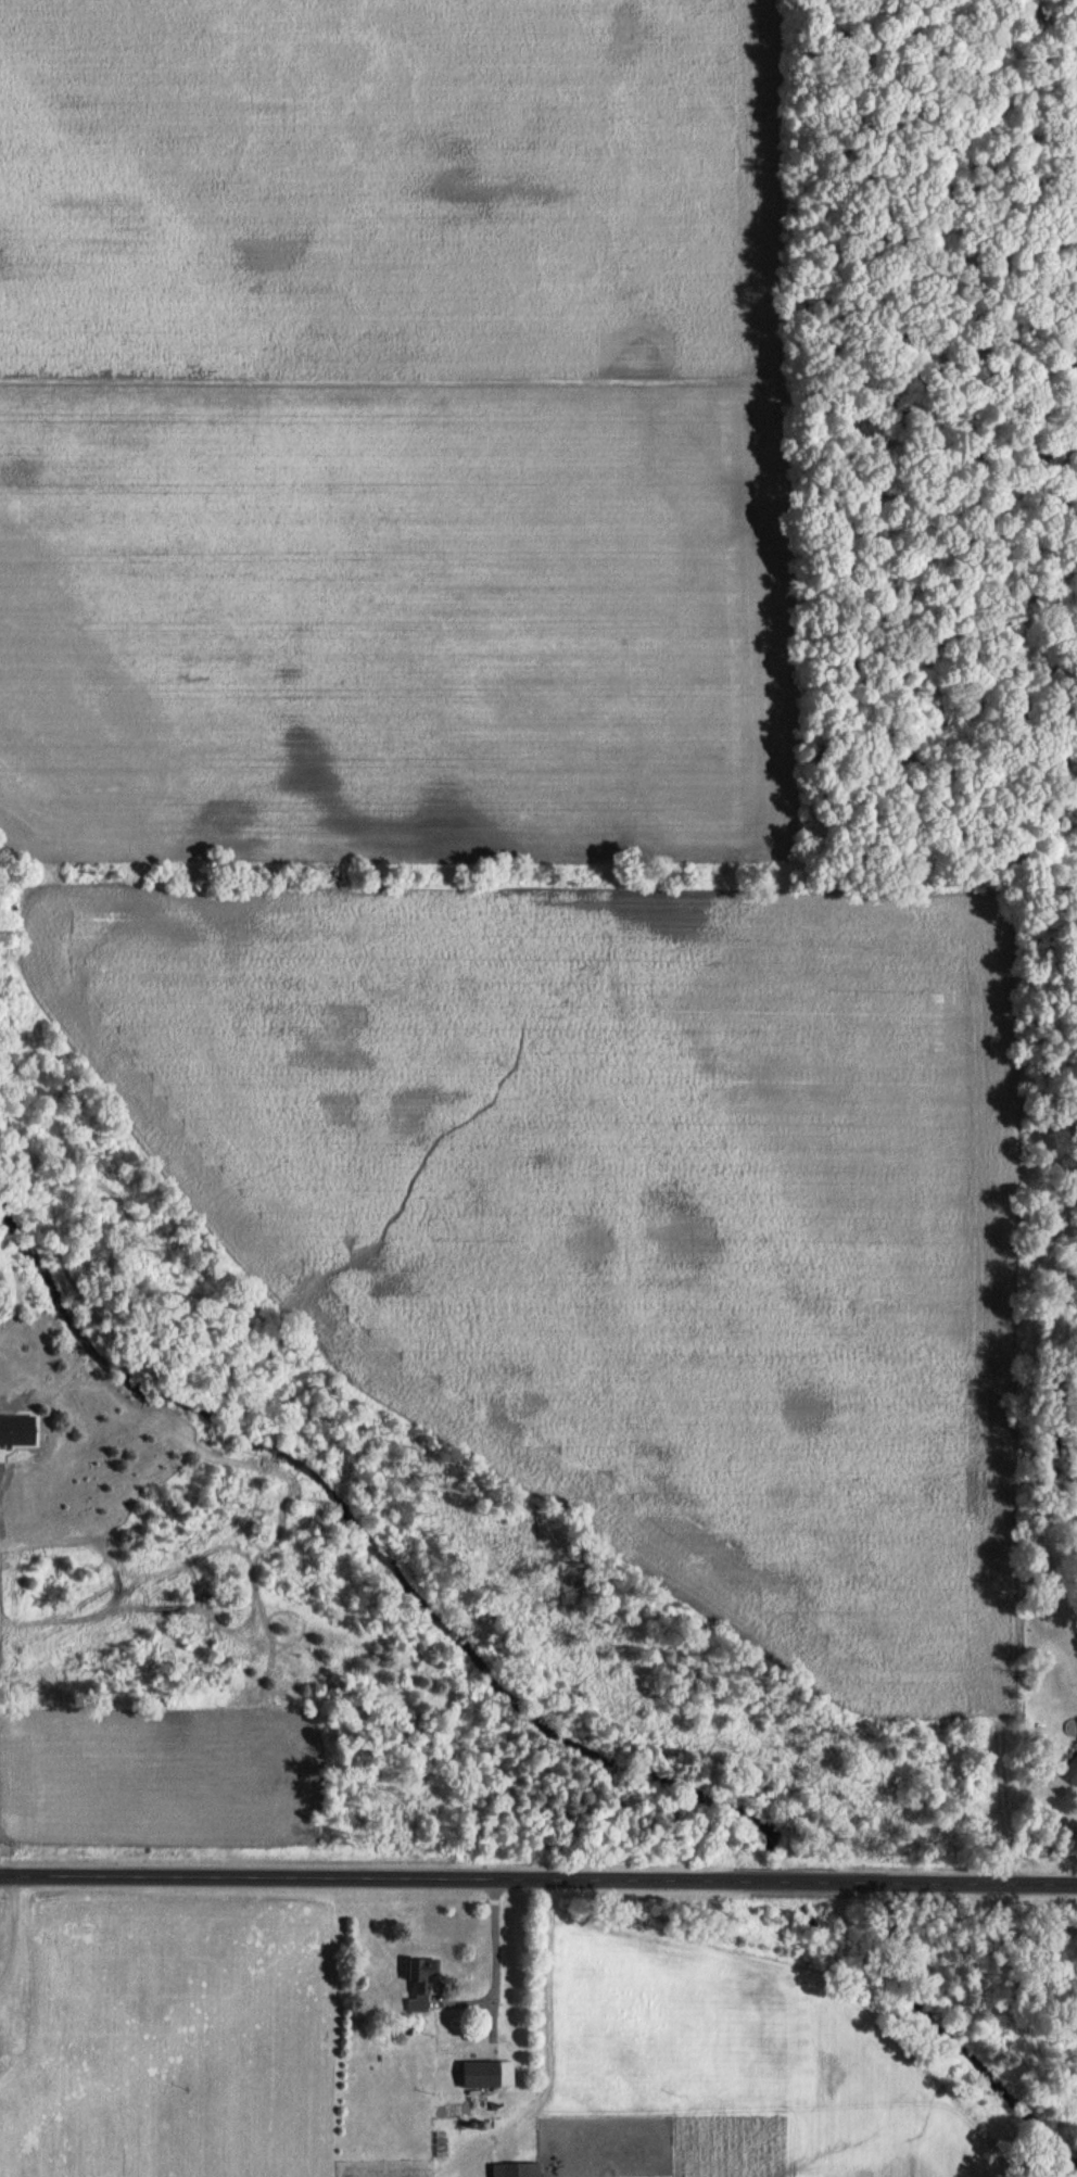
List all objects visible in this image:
building: (1073, 1771)
road: (537, 1879)
road: (9, 1924)
road: (492, 1958)
building: (425, 1979)
building: (485, 2072)
building: (519, 2168)

